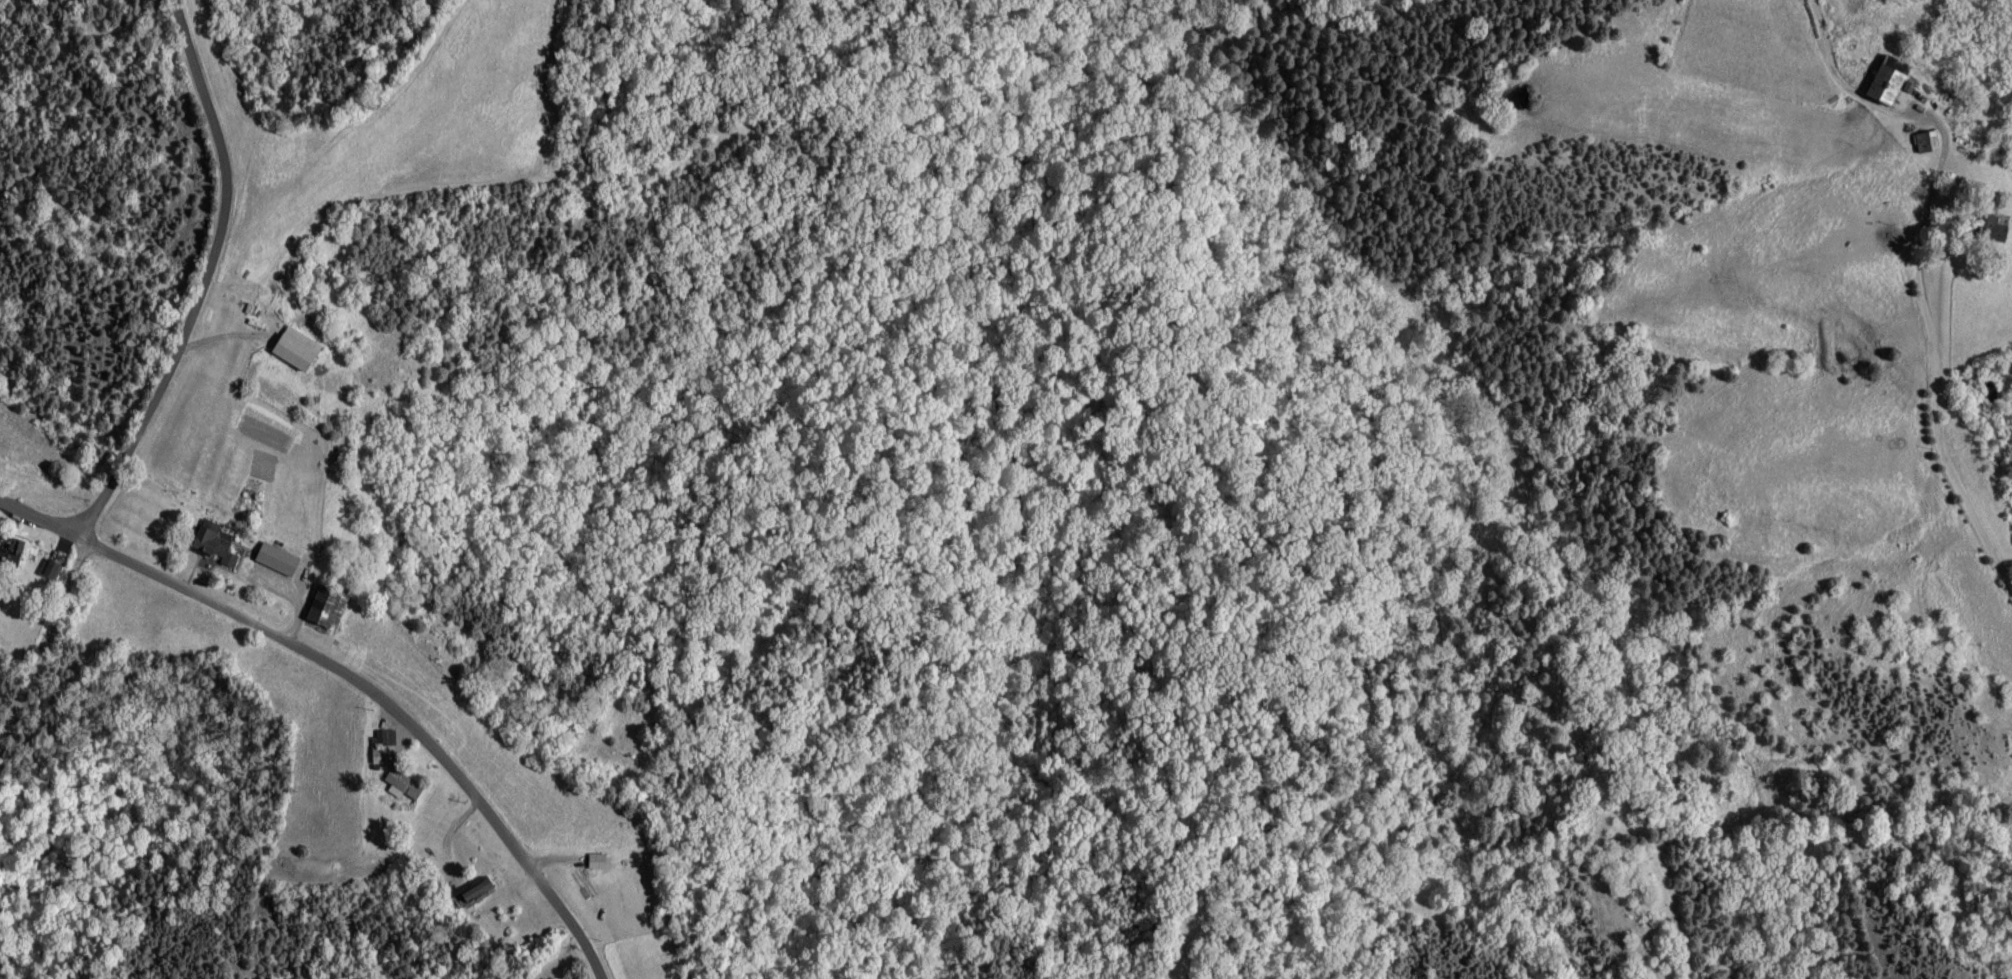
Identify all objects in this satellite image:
building: (1889, 83)
building: (1926, 141)
road: (202, 284)
building: (298, 348)
crop: (1796, 350)
road: (1937, 370)
road: (37, 532)
building: (215, 543)
building: (10, 551)
building: (278, 559)
building: (54, 569)
building: (328, 606)
road: (39, 631)
road: (379, 704)
building: (403, 784)
building: (599, 861)
building: (479, 888)

